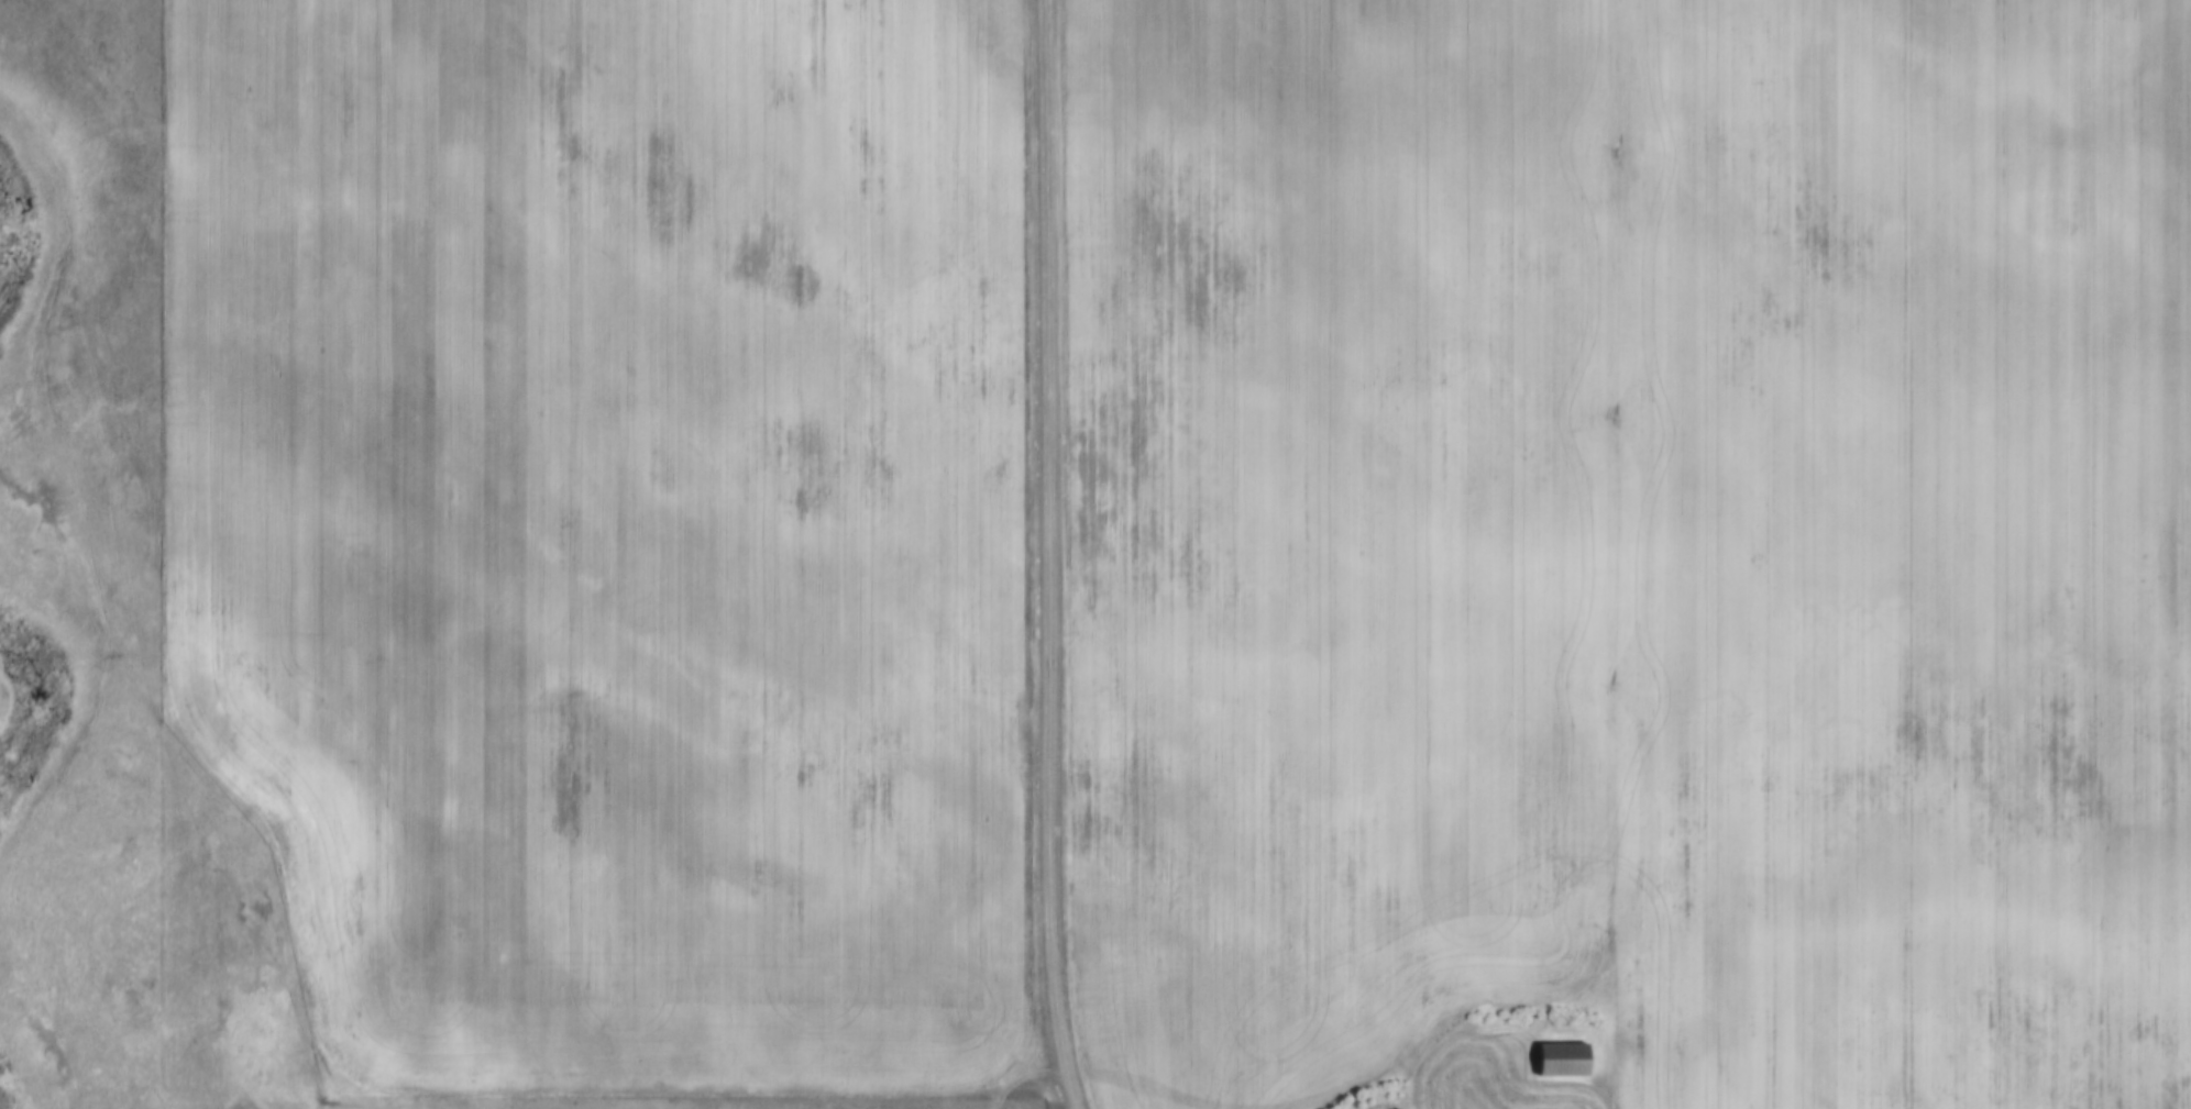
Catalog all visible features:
road: (1052, 555)
building: (1559, 1061)

